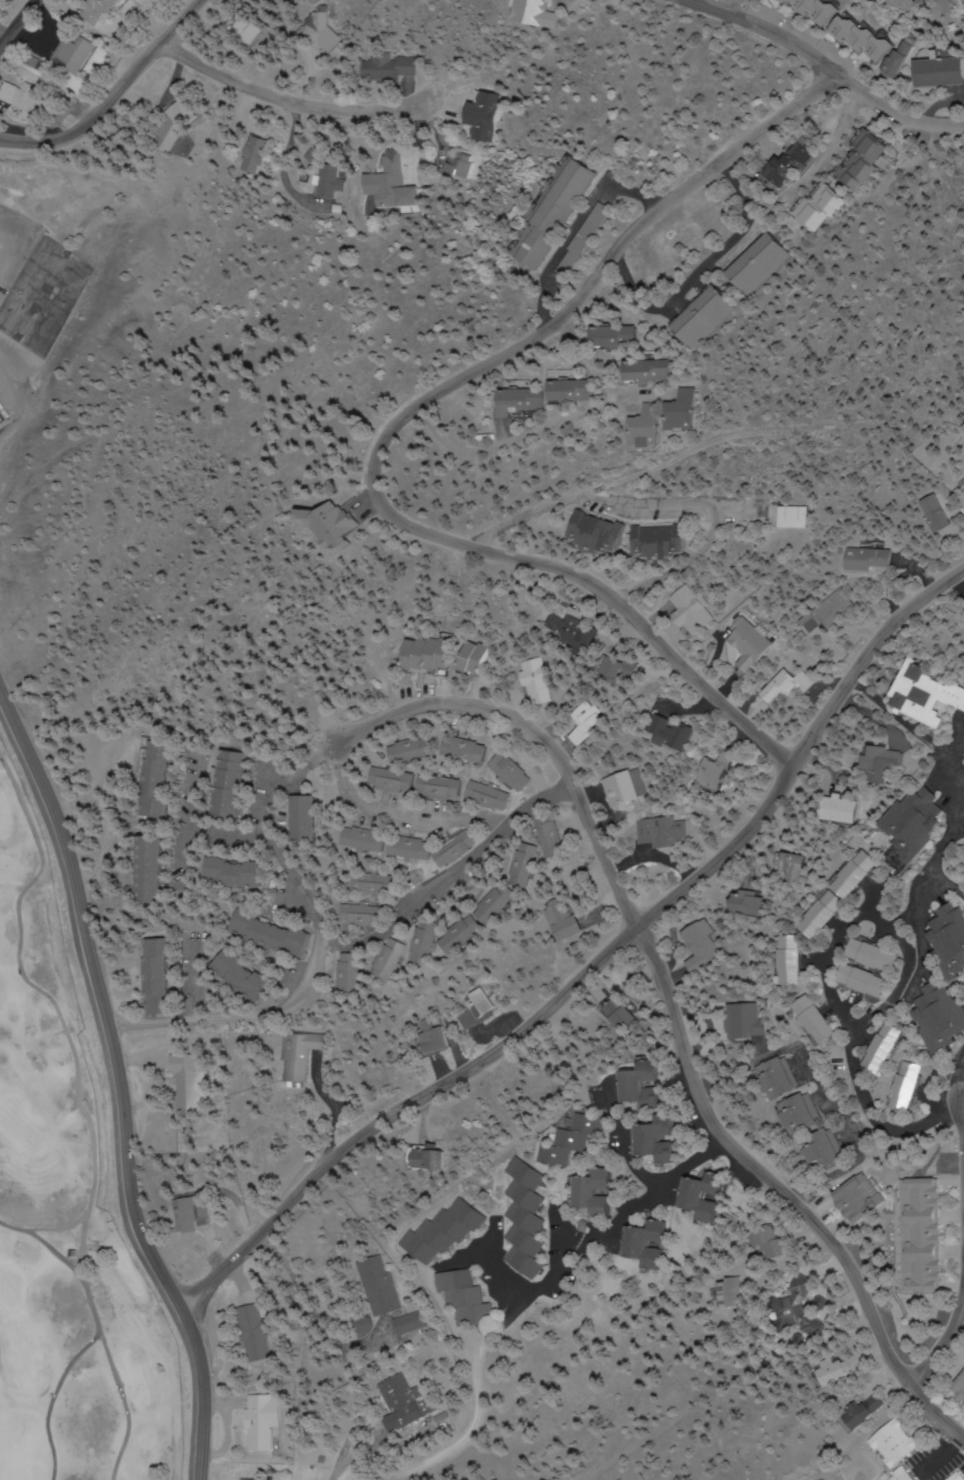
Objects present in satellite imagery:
building: (283, 1)
building: (99, 10)
building: (812, 10)
building: (539, 13)
road: (16, 22)
road: (760, 29)
building: (251, 32)
building: (860, 39)
building: (75, 54)
building: (896, 63)
building: (387, 66)
building: (939, 72)
road: (110, 94)
building: (27, 99)
road: (284, 99)
building: (479, 116)
building: (171, 125)
building: (250, 154)
building: (863, 160)
building: (456, 164)
building: (781, 167)
building: (322, 182)
building: (383, 186)
building: (815, 207)
building: (554, 214)
park: (73, 260)
building: (563, 263)
building: (755, 264)
road: (691, 271)
park: (37, 296)
building: (705, 315)
building: (615, 336)
road: (591, 359)
building: (654, 370)
road: (446, 389)
building: (578, 390)
building: (530, 399)
building: (697, 408)
building: (0, 421)
building: (660, 424)
road: (538, 430)
building: (961, 480)
road: (669, 501)
building: (922, 513)
building: (802, 515)
building: (608, 532)
building: (669, 540)
building: (866, 558)
building: (839, 608)
building: (697, 609)
building: (577, 630)
building: (760, 645)
building: (440, 653)
building: (487, 657)
building: (624, 667)
building: (542, 681)
building: (792, 686)
building: (931, 694)
building: (591, 722)
road: (916, 727)
building: (682, 732)
building: (473, 749)
building: (421, 750)
building: (887, 757)
building: (726, 771)
building: (515, 772)
building: (159, 779)
building: (424, 782)
building: (234, 783)
building: (632, 787)
building: (493, 795)
building: (845, 809)
road: (403, 815)
building: (313, 817)
building: (927, 821)
road: (196, 828)
building: (672, 831)
building: (560, 836)
building: (395, 844)
building: (459, 848)
road: (950, 855)
road: (281, 856)
road: (188, 858)
building: (536, 859)
building: (799, 865)
building: (159, 868)
building: (243, 873)
building: (862, 874)
road: (935, 880)
building: (380, 884)
building: (506, 903)
building: (753, 903)
building: (826, 914)
building: (365, 915)
building: (571, 919)
building: (956, 930)
building: (473, 932)
building: (276, 933)
building: (431, 942)
road: (348, 944)
building: (702, 947)
building: (882, 955)
building: (394, 958)
building: (794, 960)
road: (595, 964)
building: (353, 973)
building: (163, 976)
road: (196, 976)
building: (249, 976)
building: (872, 981)
road: (102, 996)
building: (485, 1005)
road: (849, 1008)
road: (672, 1011)
building: (621, 1014)
building: (948, 1014)
building: (823, 1020)
building: (749, 1022)
building: (438, 1038)
building: (897, 1047)
building: (302, 1057)
building: (786, 1078)
building: (192, 1082)
building: (650, 1085)
building: (914, 1087)
road: (832, 1093)
road: (112, 1096)
road: (961, 1099)
road: (83, 1107)
building: (804, 1114)
road: (876, 1117)
building: (667, 1138)
building: (576, 1140)
road: (629, 1142)
building: (827, 1152)
building: (437, 1160)
building: (602, 1192)
building: (714, 1196)
building: (867, 1198)
building: (197, 1212)
building: (531, 1217)
park: (65, 1219)
road: (45, 1229)
building: (449, 1231)
building: (927, 1235)
building: (651, 1243)
building: (774, 1244)
road: (56, 1252)
building: (381, 1286)
road: (538, 1290)
building: (734, 1293)
building: (470, 1298)
building: (805, 1301)
building: (413, 1323)
building: (253, 1333)
road: (940, 1351)
building: (843, 1371)
building: (961, 1389)
road: (205, 1396)
road: (53, 1399)
building: (401, 1403)
building: (871, 1412)
building: (263, 1421)
building: (900, 1444)
building: (906, 1475)
building: (959, 1477)
building: (243, 1479)
building: (827, 1479)

